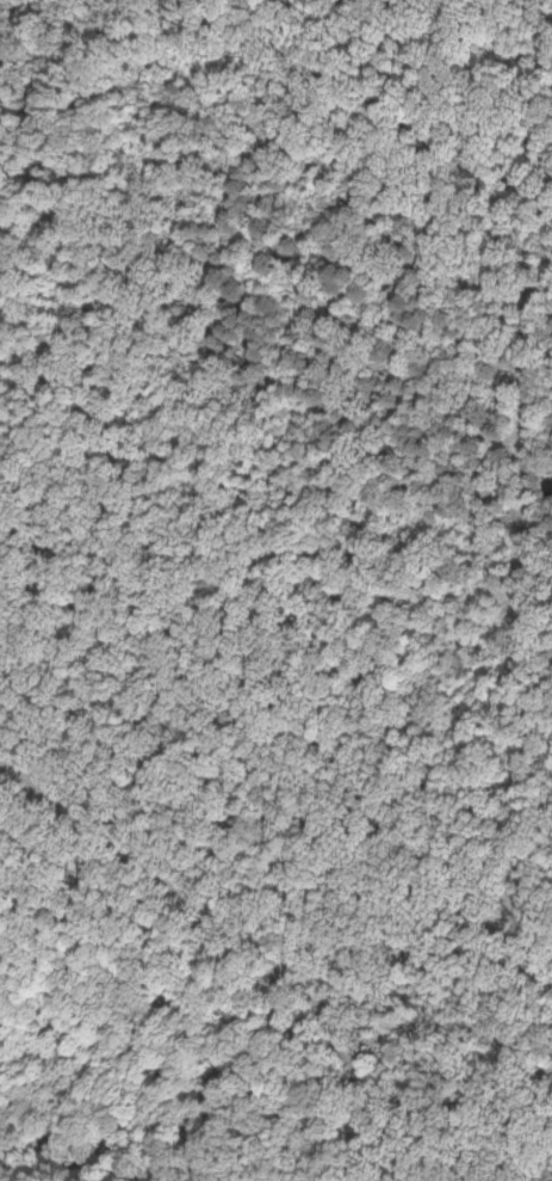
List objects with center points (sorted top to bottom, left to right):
road: (247, 934)

